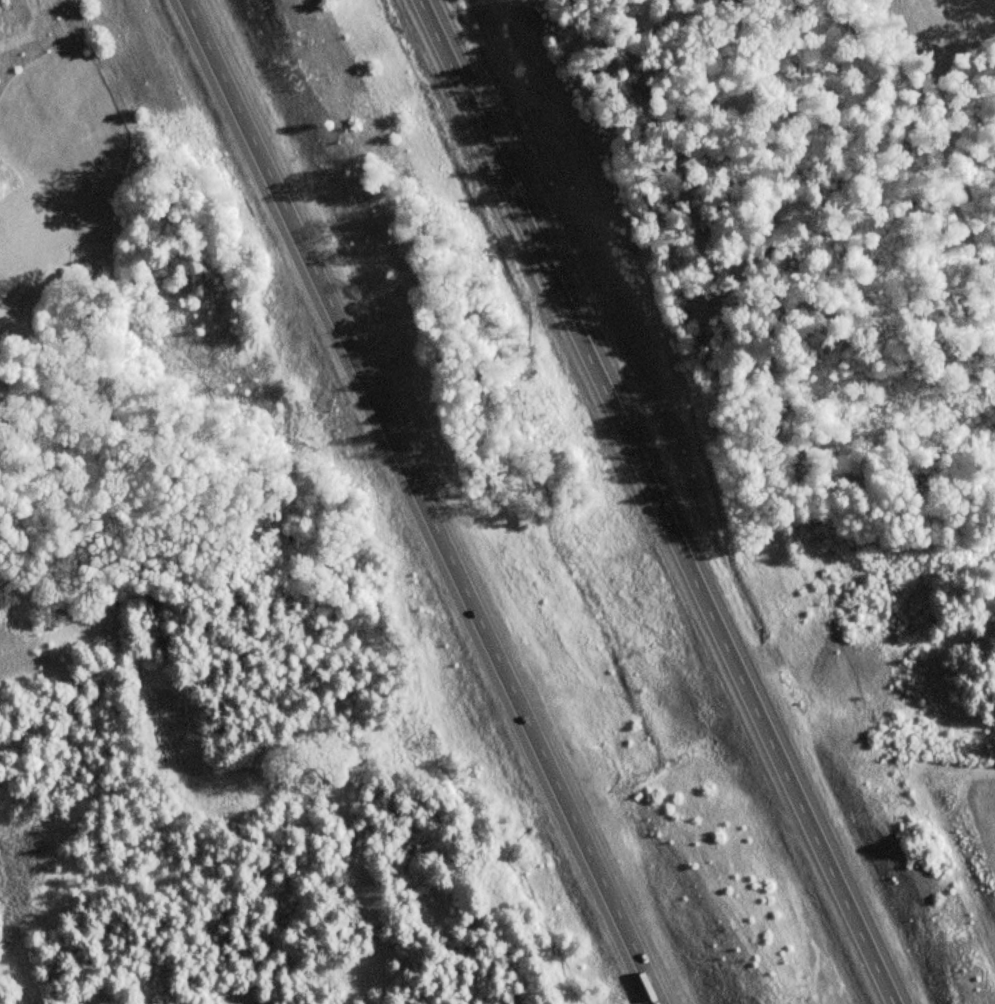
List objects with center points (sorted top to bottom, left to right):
road: (428, 502)
road: (668, 502)

